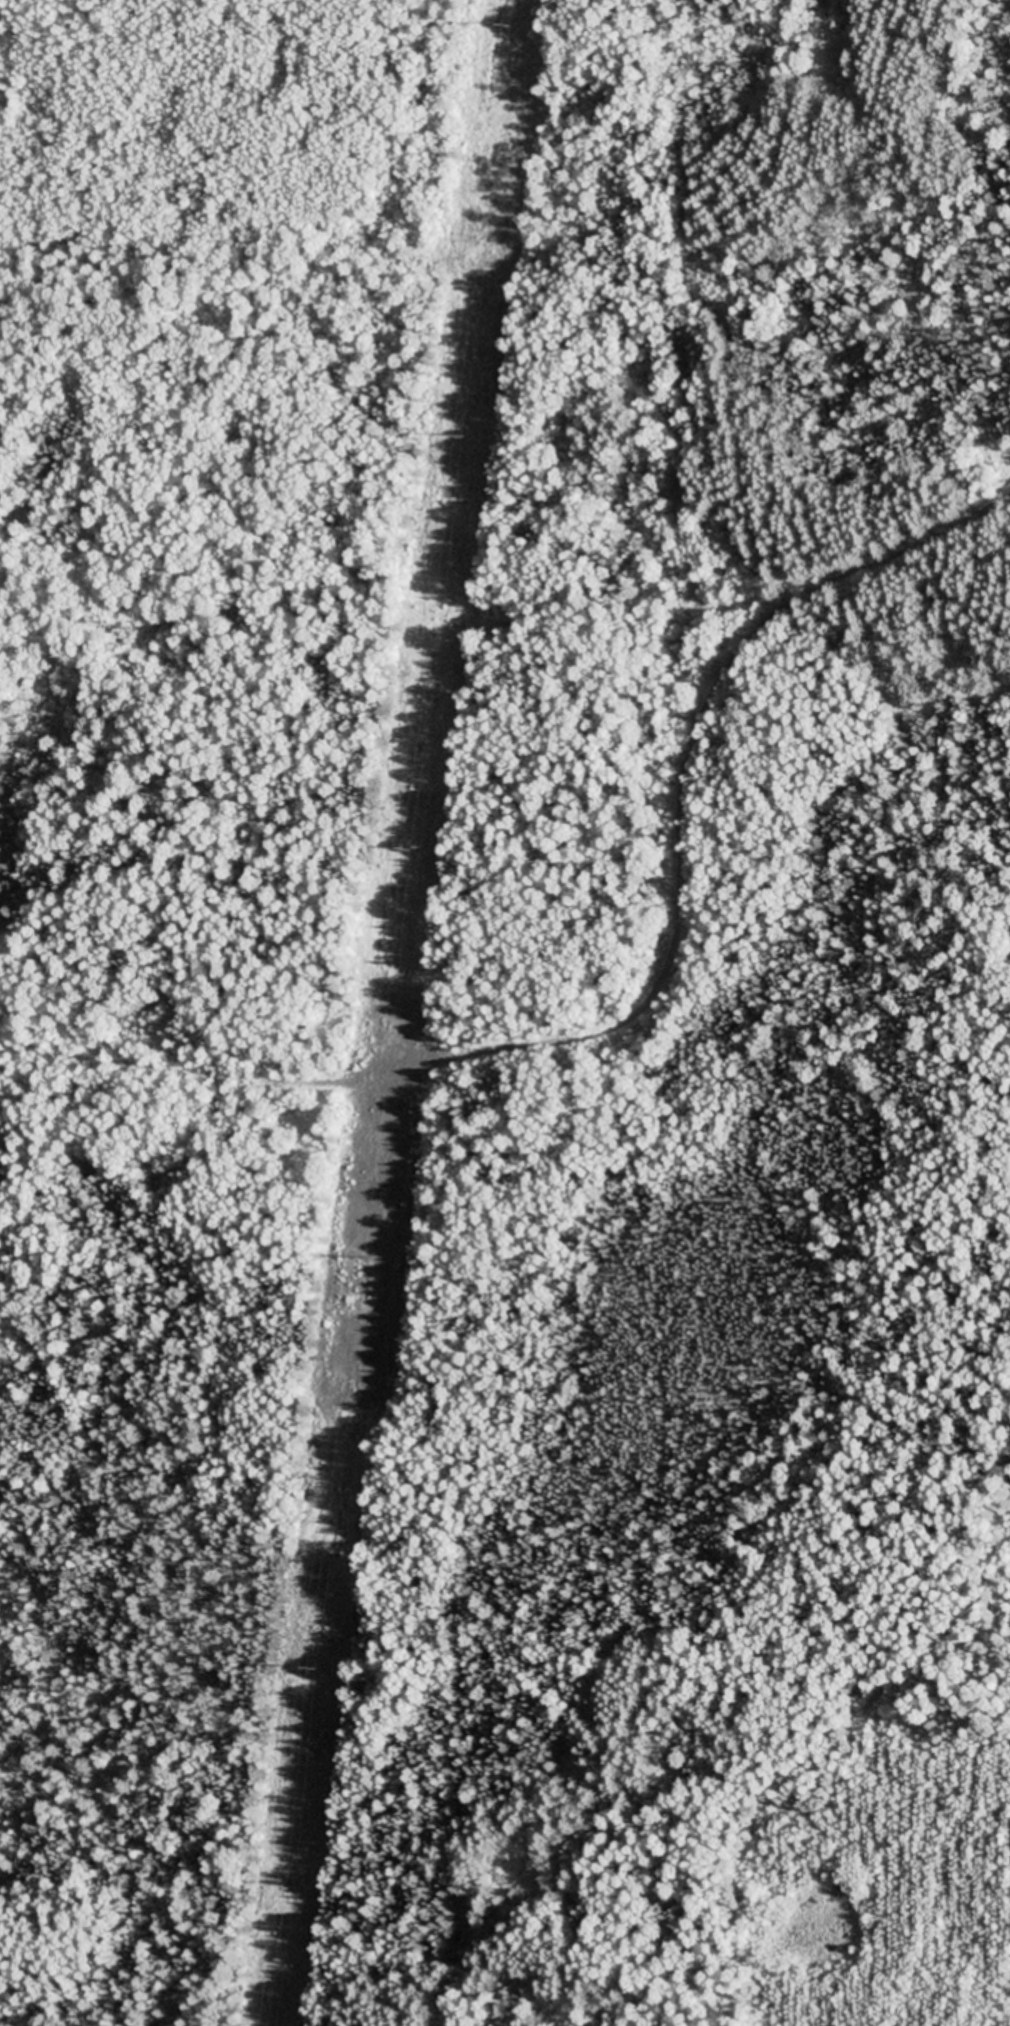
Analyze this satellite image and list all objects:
power tower: (510, 25)
power tower: (462, 438)
power tower: (413, 851)
road: (634, 937)
power tower: (365, 1261)
power tower: (316, 1668)

